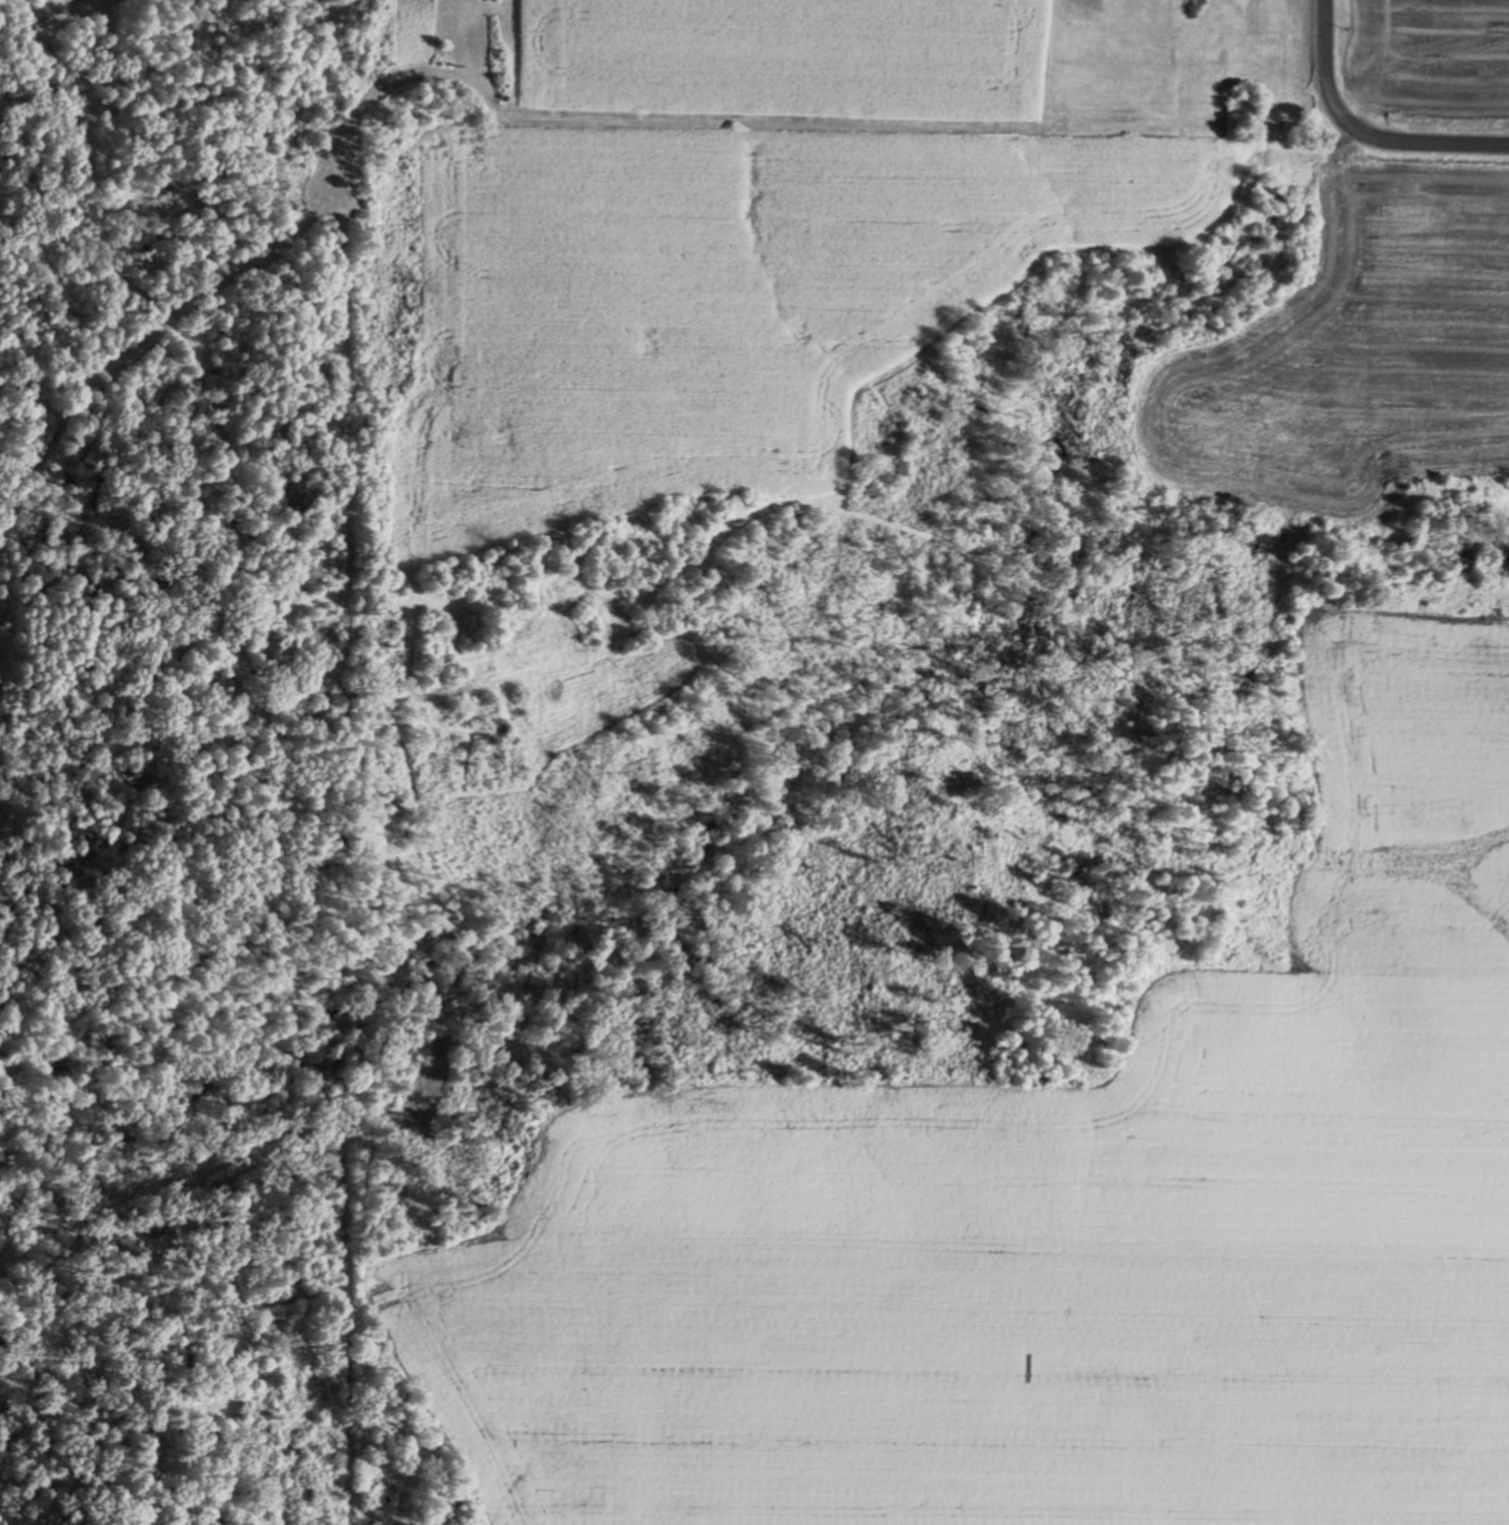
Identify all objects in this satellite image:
road: (1349, 63)
road: (1458, 99)

